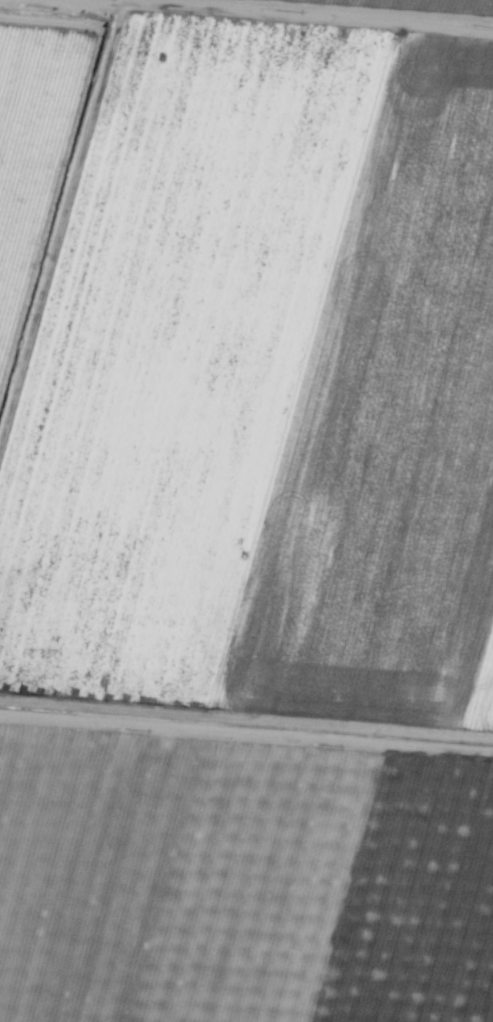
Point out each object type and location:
crop: (246, 511)

